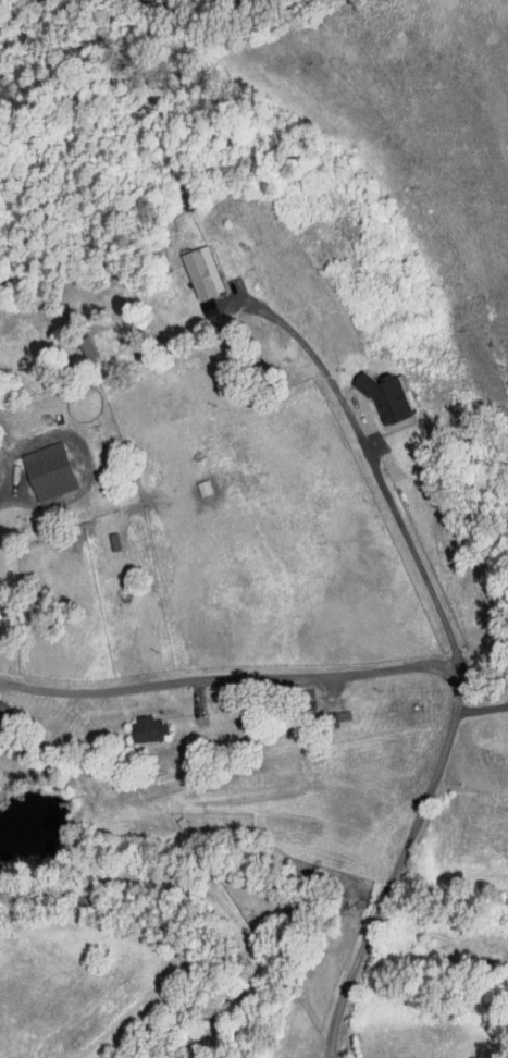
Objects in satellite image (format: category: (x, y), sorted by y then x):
building: (203, 270)
road: (375, 467)
building: (51, 469)
road: (8, 493)
road: (428, 666)
road: (199, 702)
road: (482, 709)
building: (151, 728)

